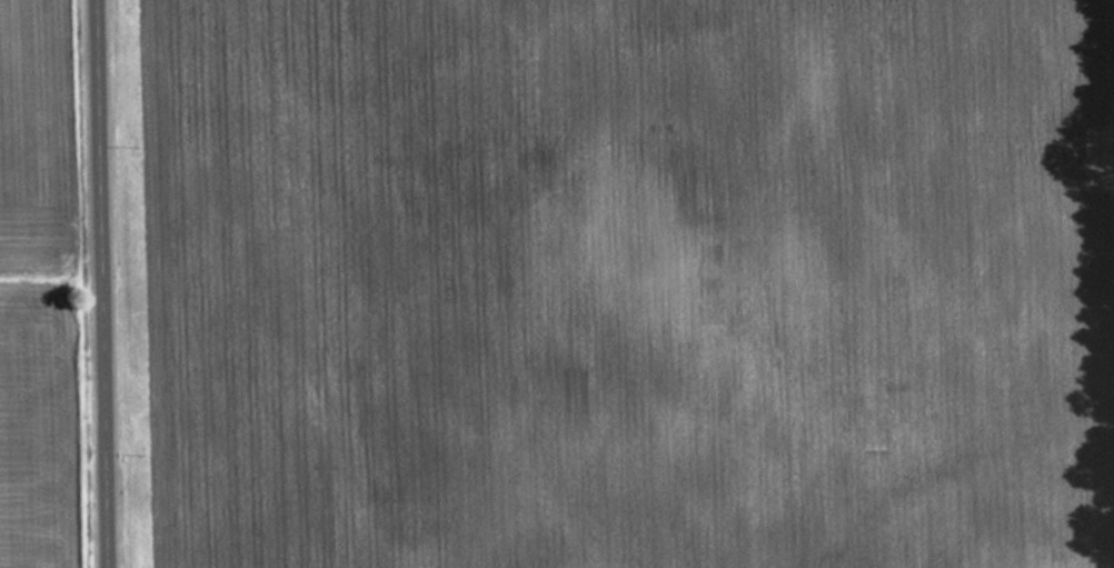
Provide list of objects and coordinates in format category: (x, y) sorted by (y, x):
road: (108, 283)

